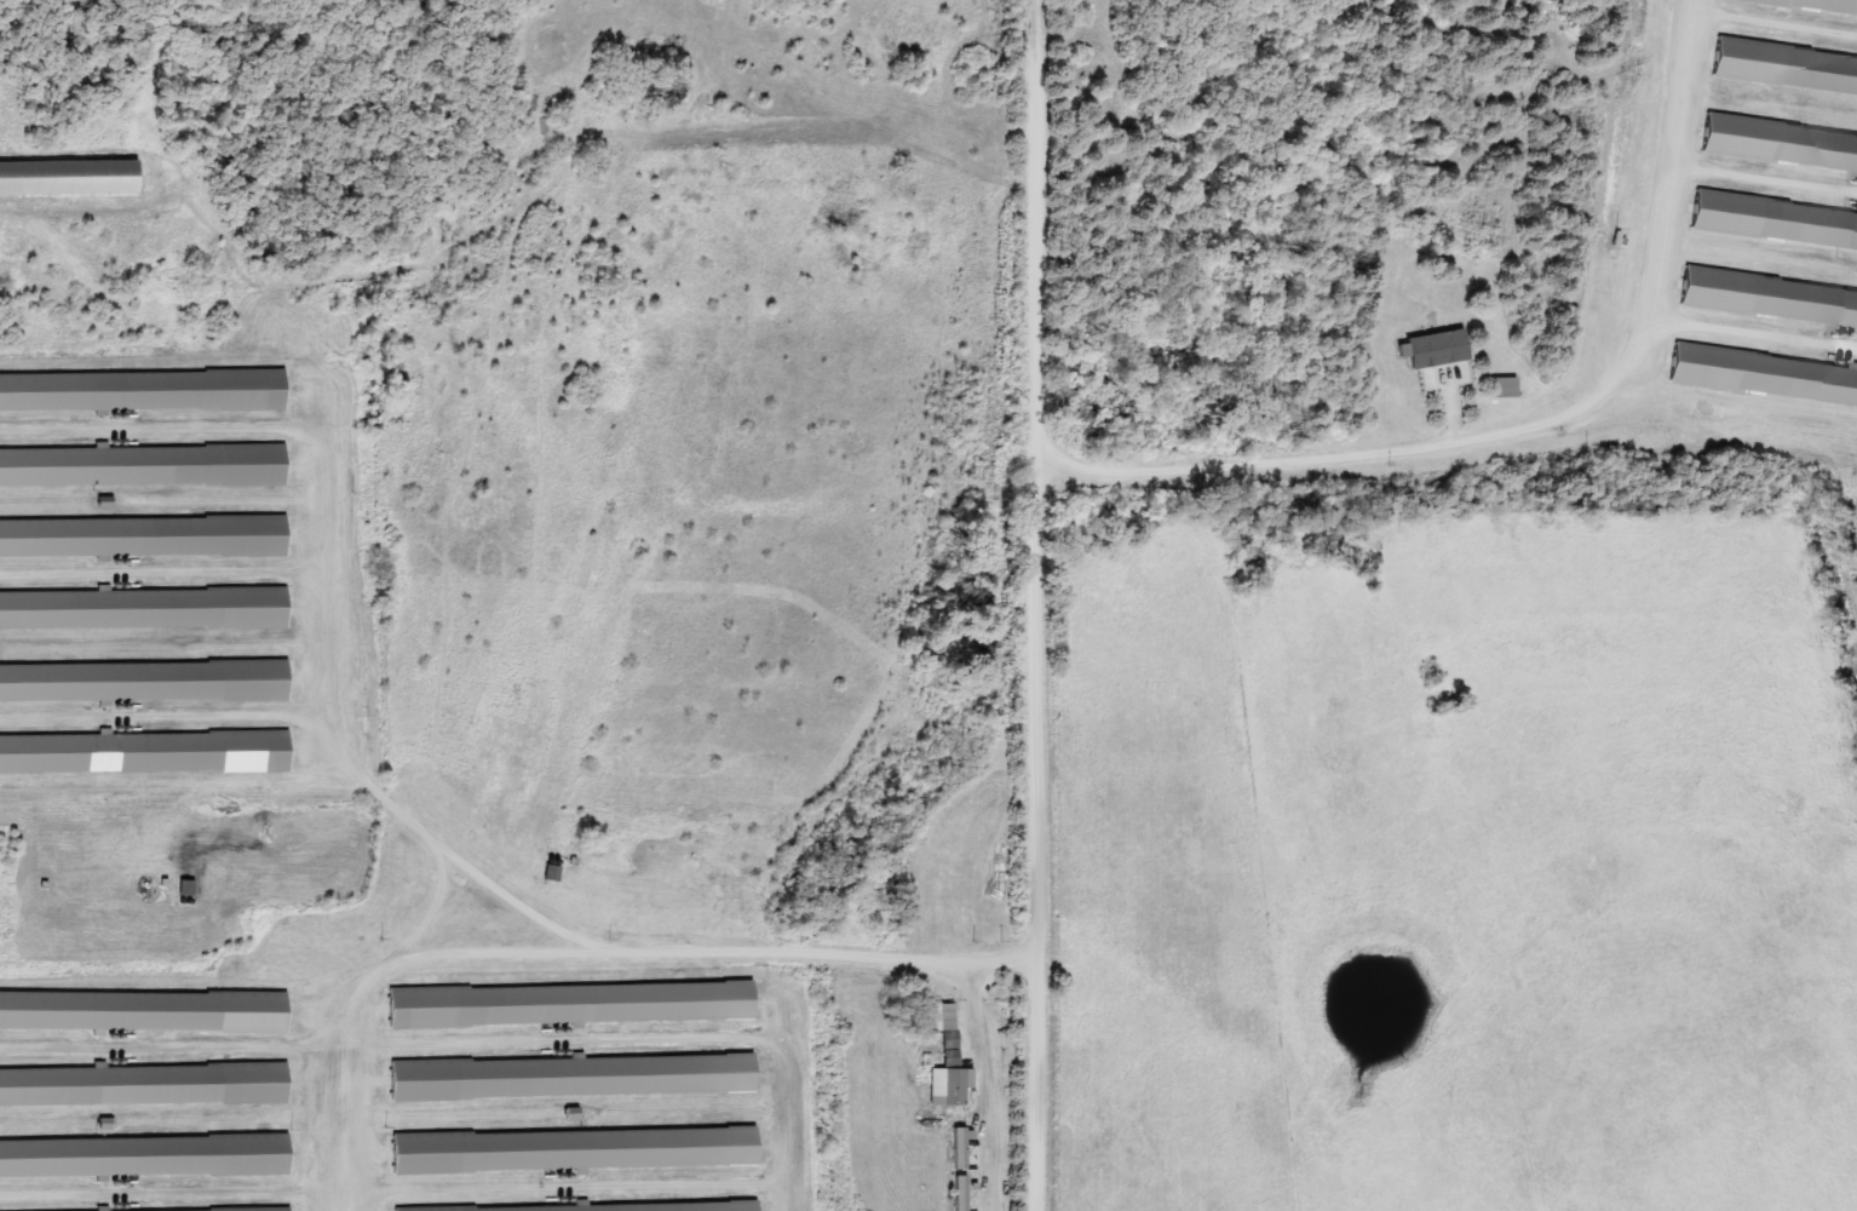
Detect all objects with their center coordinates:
building: (1811, 5)
building: (1788, 68)
building: (1782, 145)
building: (70, 177)
building: (1777, 222)
building: (1771, 300)
building: (1438, 350)
building: (1766, 375)
building: (1508, 388)
building: (144, 391)
building: (145, 466)
building: (145, 538)
road: (1045, 604)
building: (145, 609)
building: (144, 683)
building: (146, 753)
building: (573, 1004)
building: (145, 1012)
building: (953, 1064)
building: (576, 1077)
building: (145, 1085)
building: (966, 1146)
building: (575, 1150)
building: (145, 1157)
building: (965, 1193)
building: (600, 1207)

